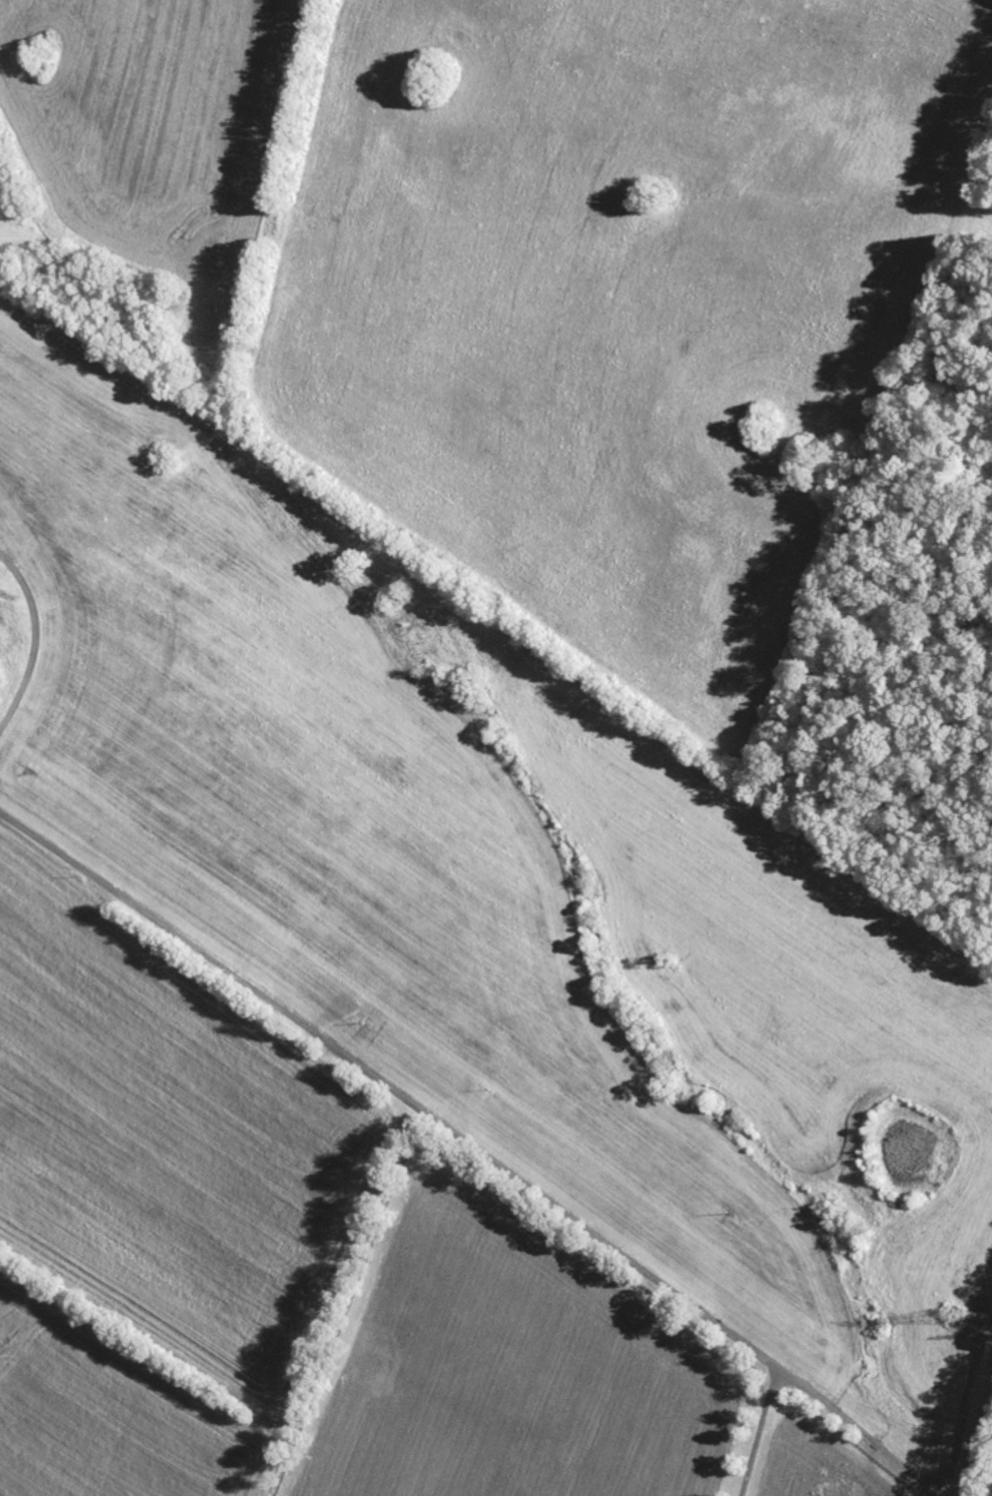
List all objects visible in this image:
road: (33, 638)
road: (473, 1145)
power tower: (955, 1319)
road: (759, 1431)

